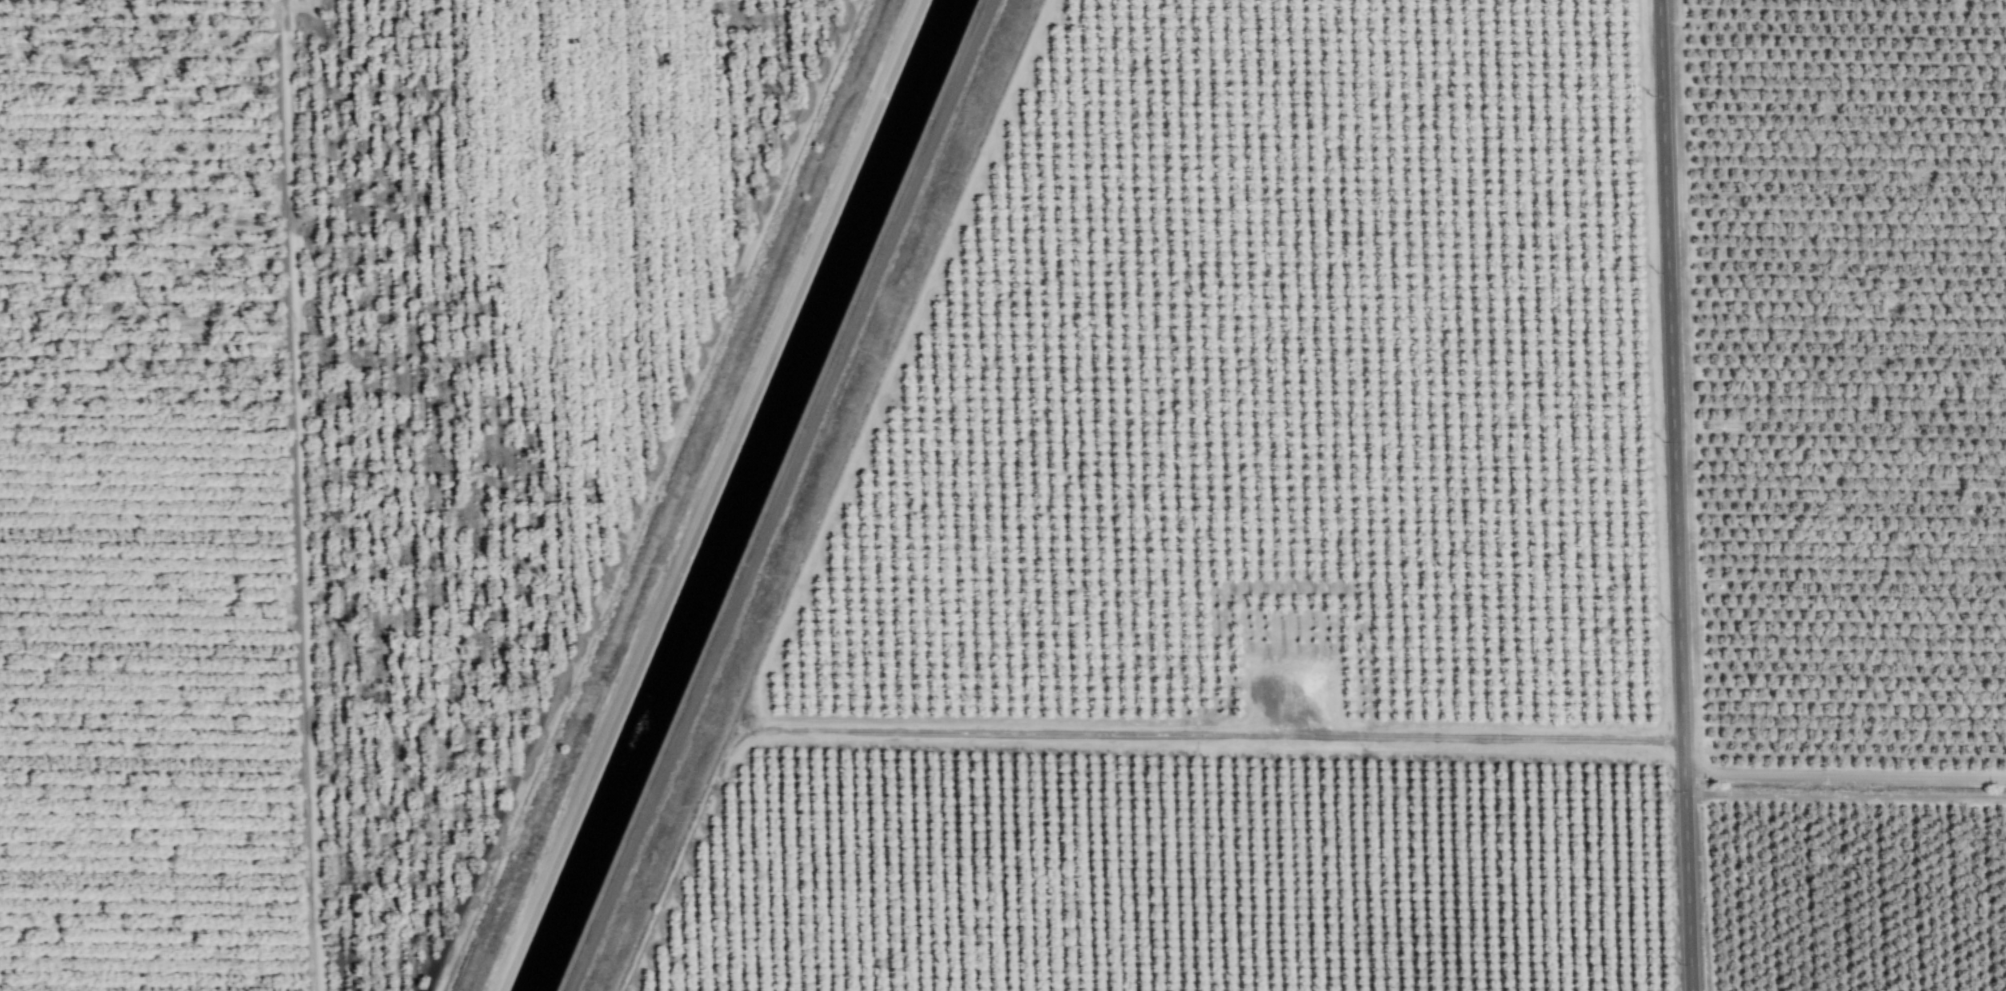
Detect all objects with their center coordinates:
road: (1673, 495)
road: (1844, 774)
road: (1843, 797)

